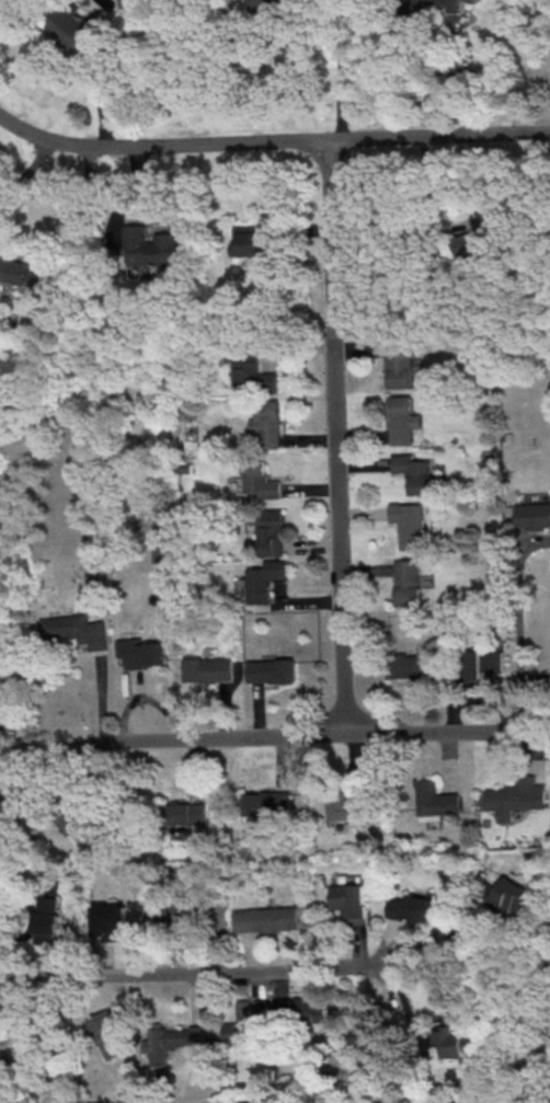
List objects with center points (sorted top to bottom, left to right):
building: (471, 0)
building: (264, 3)
building: (424, 9)
building: (69, 27)
road: (341, 66)
road: (98, 100)
road: (272, 142)
road: (25, 169)
building: (475, 238)
building: (253, 240)
building: (150, 245)
building: (27, 276)
building: (398, 365)
building: (251, 375)
building: (401, 418)
building: (266, 423)
road: (334, 438)
building: (413, 472)
building: (259, 481)
building: (532, 515)
building: (408, 522)
building: (271, 532)
building: (263, 579)
building: (406, 582)
building: (76, 629)
building: (140, 652)
building: (482, 663)
building: (410, 666)
building: (207, 668)
building: (271, 670)
building: (5, 690)
road: (233, 737)
road: (12, 771)
building: (515, 797)
building: (436, 801)
building: (265, 804)
building: (344, 805)
building: (184, 813)
building: (75, 821)
building: (509, 895)
building: (347, 901)
building: (409, 907)
building: (174, 909)
building: (265, 919)
building: (45, 920)
building: (110, 920)
road: (432, 949)
road: (191, 973)
building: (309, 1008)
building: (244, 1023)
road: (25, 1032)
building: (107, 1033)
building: (365, 1037)
building: (451, 1042)
building: (179, 1043)
building: (4, 1060)

